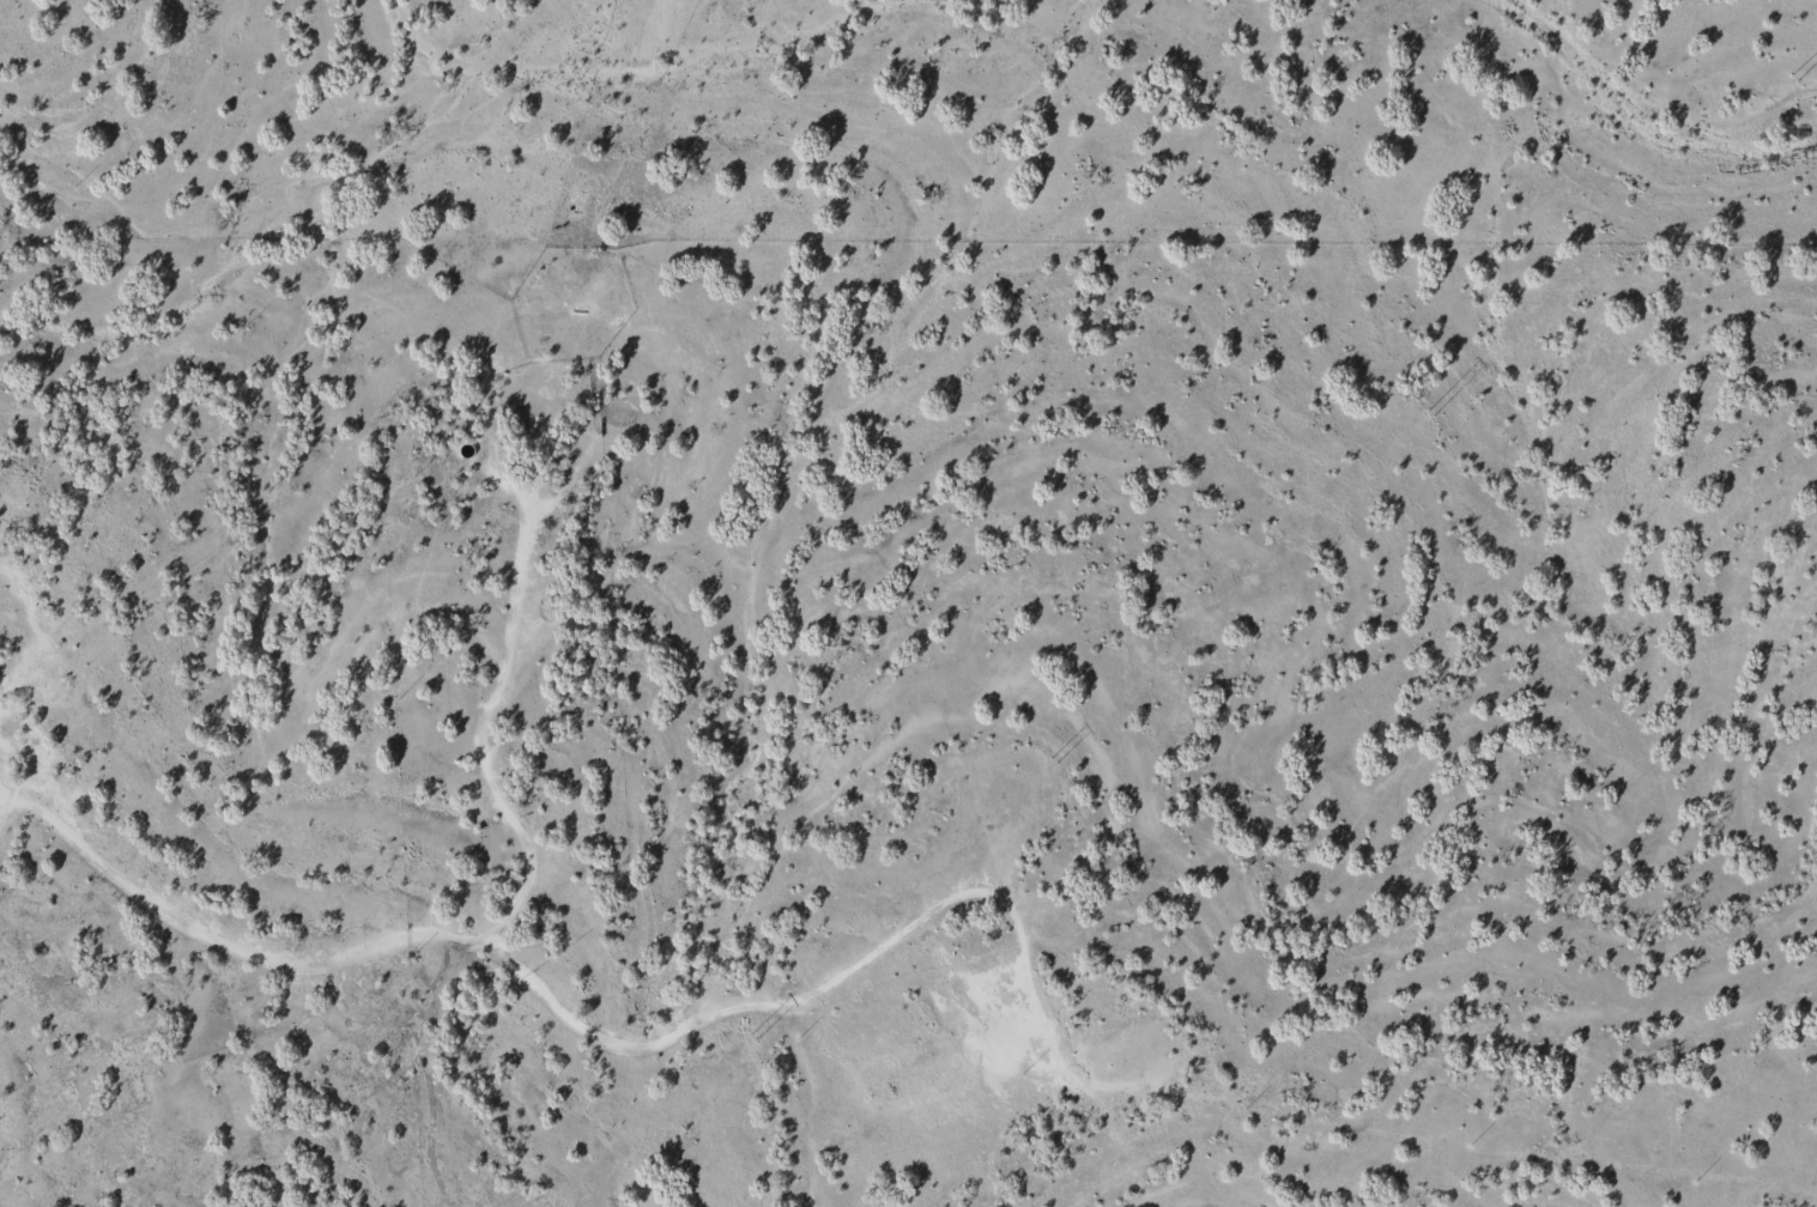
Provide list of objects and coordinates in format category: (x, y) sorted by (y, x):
power tower: (1791, 80)
power tower: (1428, 416)
power tower: (1053, 763)
power tower: (755, 1038)

